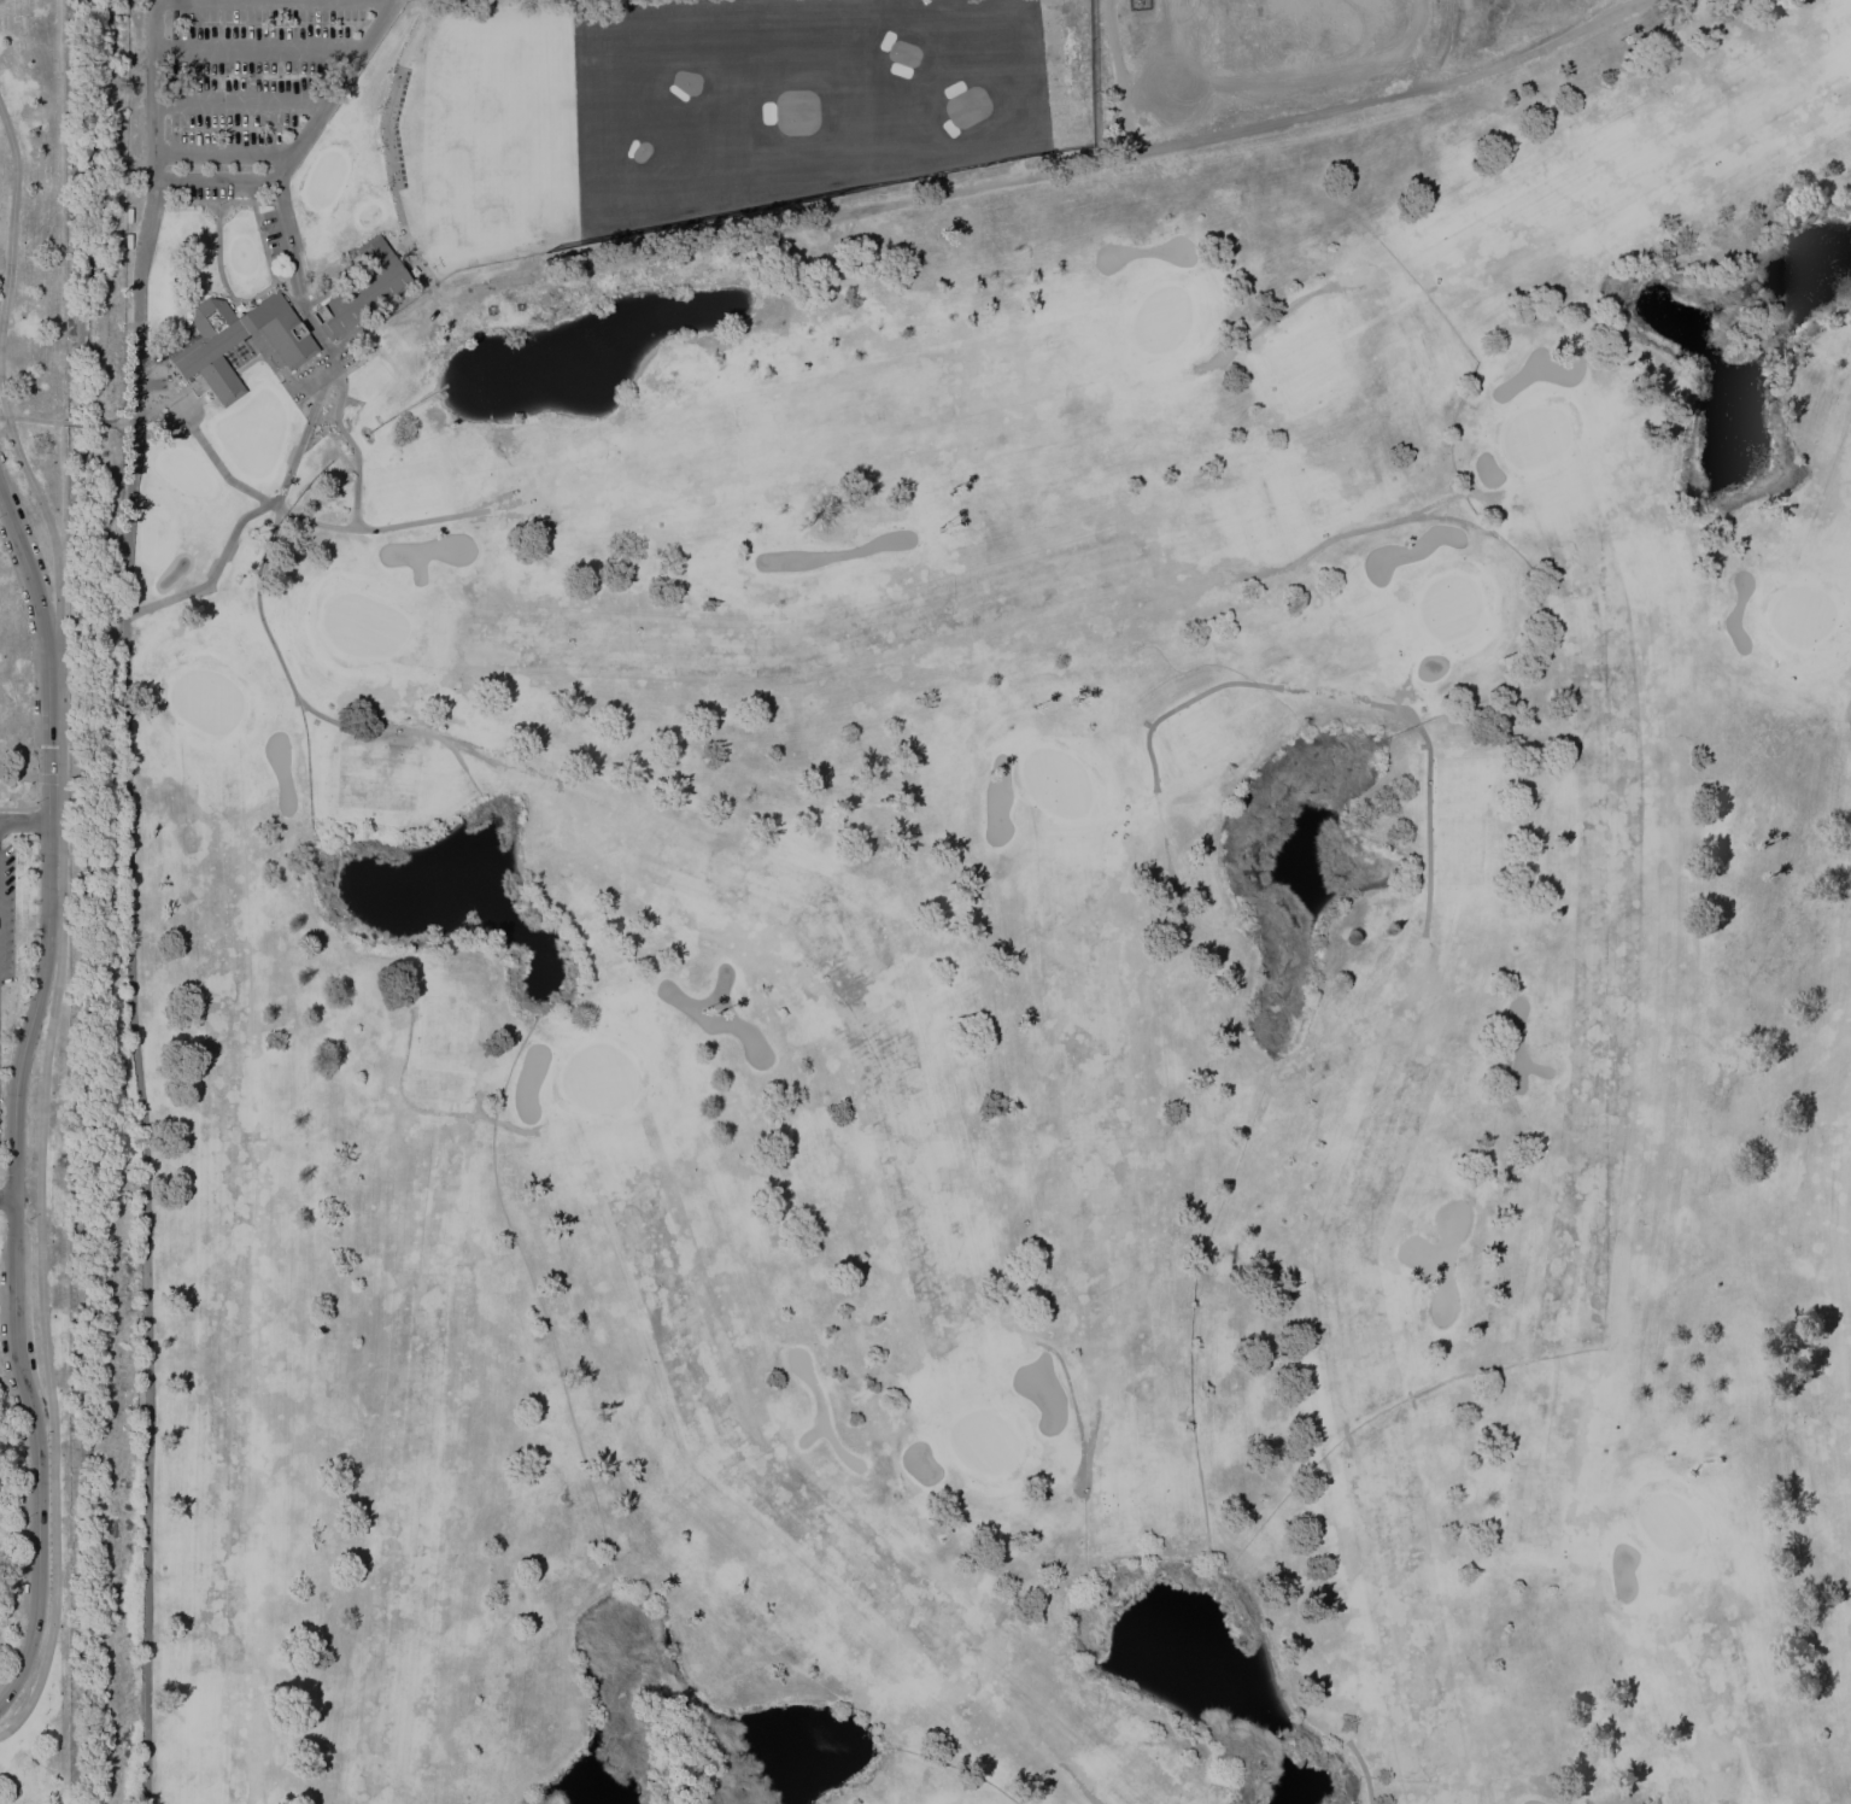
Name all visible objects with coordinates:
road: (175, 0)
road: (257, 48)
parking lot: (248, 84)
road: (238, 102)
park: (713, 111)
road: (304, 136)
road: (151, 151)
road: (222, 152)
road: (1037, 170)
road: (391, 178)
road: (200, 199)
road: (217, 254)
road: (277, 281)
building: (363, 289)
road: (256, 292)
road: (377, 316)
building: (204, 347)
road: (276, 362)
road: (228, 365)
road: (229, 380)
road: (134, 393)
road: (157, 405)
road: (172, 411)
road: (33, 418)
road: (87, 422)
road: (351, 444)
road: (1445, 498)
road: (245, 515)
road: (1451, 517)
road: (316, 522)
road: (1304, 555)
road: (286, 670)
road: (1189, 699)
road: (487, 757)
road: (18, 774)
road: (42, 778)
road: (53, 778)
road: (48, 804)
road: (18, 808)
road: (23, 820)
road: (1427, 827)
park: (925, 902)
park: (33, 904)
road: (1850, 908)
parking lot: (6, 910)
road: (60, 924)
park: (1015, 971)
road: (471, 992)
road: (539, 1030)
road: (403, 1095)
road: (13, 1096)
road: (514, 1125)
road: (6, 1196)
road: (145, 1208)
road: (1059, 1763)
road: (1363, 1770)
road: (1657, 1799)

